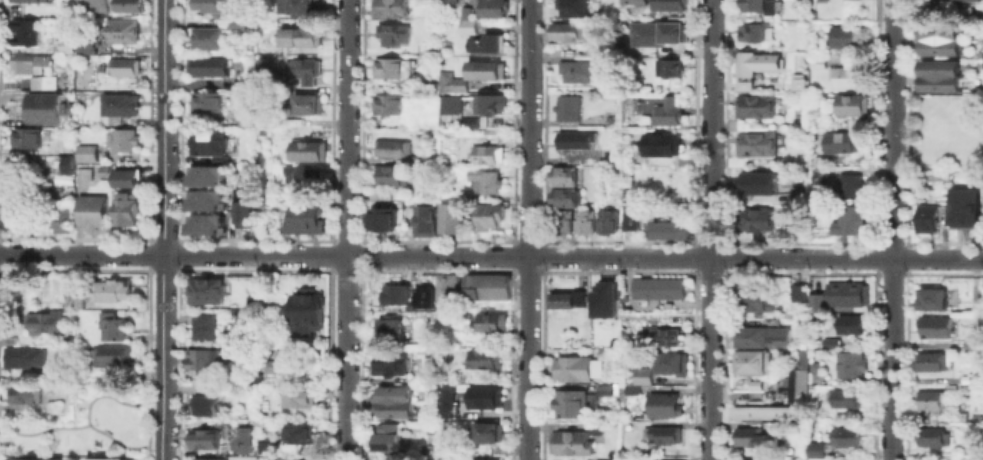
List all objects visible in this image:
building: (27, 0)
building: (800, 0)
building: (958, 0)
building: (447, 1)
building: (633, 1)
building: (129, 5)
building: (211, 5)
building: (296, 5)
building: (666, 5)
building: (92, 6)
building: (761, 6)
building: (389, 7)
building: (571, 7)
building: (937, 7)
building: (489, 8)
building: (464, 11)
building: (236, 24)
building: (467, 26)
building: (122, 30)
building: (565, 30)
building: (754, 30)
building: (25, 31)
building: (393, 32)
building: (655, 32)
building: (845, 35)
building: (299, 36)
building: (207, 37)
building: (941, 39)
building: (484, 42)
building: (85, 45)
building: (66, 46)
building: (755, 61)
building: (815, 61)
building: (27, 62)
building: (265, 65)
building: (123, 66)
building: (206, 66)
building: (389, 67)
building: (668, 67)
building: (484, 69)
building: (305, 70)
building: (575, 70)
building: (845, 74)
building: (941, 75)
building: (41, 80)
building: (451, 81)
building: (798, 81)
building: (237, 84)
building: (204, 100)
building: (491, 102)
building: (388, 103)
building: (450, 103)
building: (851, 103)
building: (119, 104)
building: (309, 104)
building: (755, 104)
building: (567, 106)
building: (41, 108)
building: (421, 110)
building: (665, 110)
building: (246, 117)
building: (467, 121)
building: (25, 137)
building: (575, 138)
building: (123, 139)
building: (206, 141)
building: (840, 141)
building: (657, 143)
building: (755, 143)
building: (391, 146)
building: (308, 150)
building: (87, 152)
building: (487, 153)
building: (605, 153)
building: (681, 159)
building: (64, 164)
building: (816, 173)
building: (305, 174)
building: (388, 175)
building: (562, 175)
building: (206, 176)
building: (125, 177)
building: (483, 180)
building: (758, 180)
building: (849, 184)
building: (797, 193)
building: (378, 195)
building: (562, 196)
building: (205, 199)
building: (962, 201)
building: (241, 206)
building: (125, 208)
building: (15, 211)
building: (92, 211)
building: (378, 215)
building: (488, 215)
building: (628, 216)
building: (452, 217)
building: (926, 217)
building: (60, 218)
building: (757, 219)
building: (304, 220)
building: (584, 220)
building: (607, 220)
building: (424, 221)
building: (561, 221)
building: (844, 221)
building: (205, 224)
building: (670, 228)
road: (162, 230)
road: (346, 230)
road: (531, 230)
road: (710, 230)
road: (891, 230)
road: (491, 255)
building: (486, 285)
building: (659, 285)
building: (108, 288)
building: (446, 288)
building: (206, 289)
building: (799, 291)
building: (394, 292)
building: (844, 292)
building: (422, 297)
building: (603, 297)
building: (566, 298)
building: (932, 298)
building: (752, 299)
building: (815, 301)
building: (308, 310)
building: (443, 314)
building: (801, 316)
building: (44, 321)
building: (492, 321)
building: (849, 323)
building: (113, 326)
building: (205, 326)
building: (827, 326)
building: (934, 326)
building: (390, 330)
building: (663, 335)
building: (761, 335)
building: (828, 341)
building: (970, 344)
building: (605, 351)
building: (112, 354)
building: (23, 355)
building: (487, 357)
building: (207, 358)
building: (801, 358)
building: (932, 360)
building: (751, 361)
building: (674, 362)
building: (849, 363)
building: (285, 364)
building: (391, 364)
building: (575, 367)
building: (641, 374)
building: (796, 385)
building: (632, 388)
building: (604, 389)
building: (24, 392)
building: (299, 396)
building: (482, 396)
road: (113, 397)
building: (846, 397)
building: (928, 399)
building: (394, 401)
building: (445, 401)
building: (568, 403)
building: (664, 403)
building: (203, 404)
building: (763, 411)
building: (809, 413)
park: (84, 424)
road: (82, 426)
building: (427, 427)
building: (298, 432)
building: (485, 432)
building: (661, 433)
building: (846, 435)
building: (933, 435)
building: (750, 436)
building: (384, 437)
building: (204, 438)
building: (240, 438)
building: (572, 439)
building: (265, 445)
building: (815, 449)
building: (286, 456)
building: (34, 458)
building: (105, 458)
building: (206, 459)
building: (481, 459)
building: (601, 459)
building: (654, 459)

